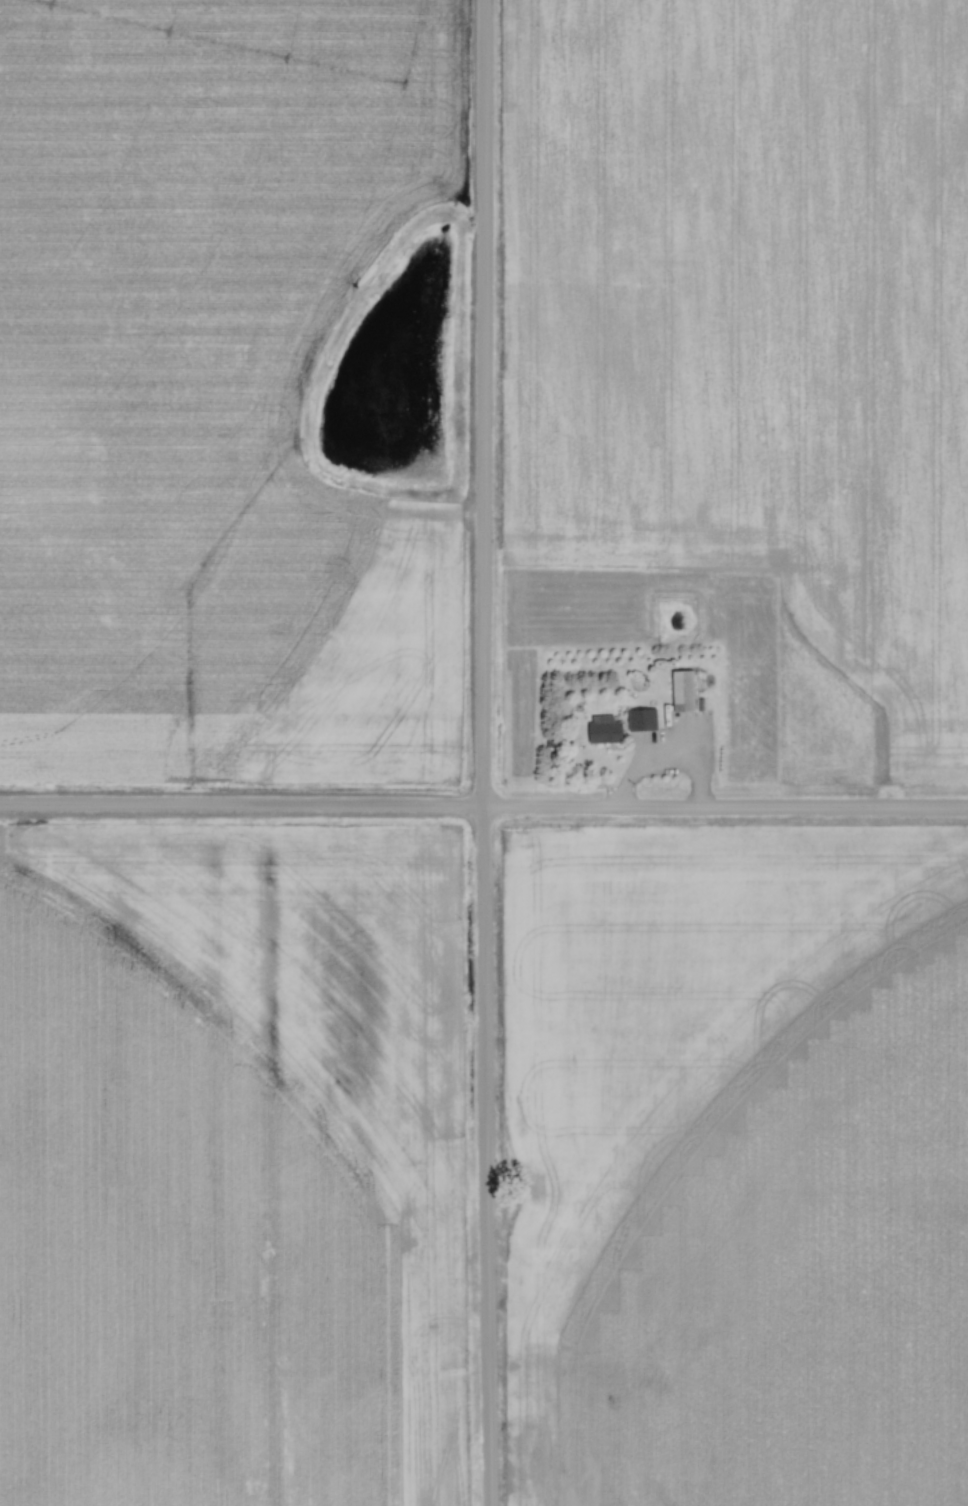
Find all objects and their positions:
building: (685, 691)
building: (644, 726)
building: (606, 732)
road: (480, 753)
road: (648, 763)
road: (484, 809)
road: (585, 1375)

